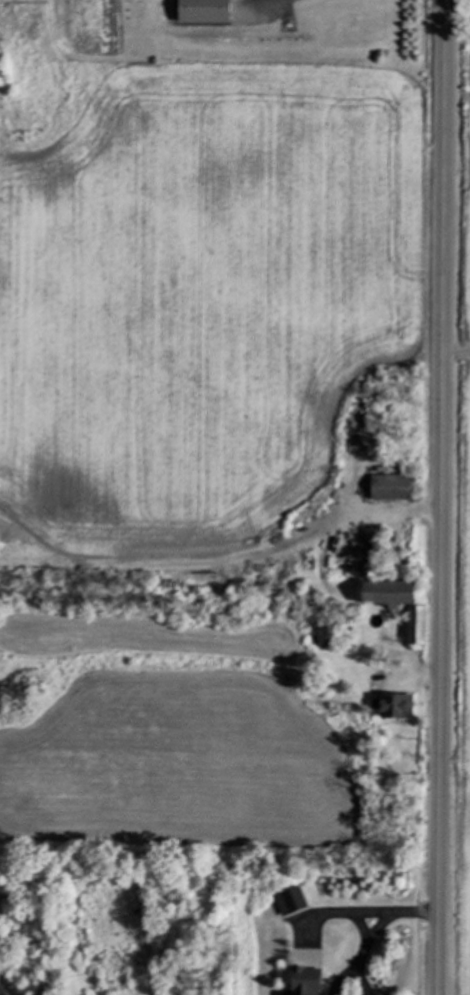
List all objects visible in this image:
road: (257, 6)
building: (205, 12)
building: (391, 489)
road: (442, 497)
crop: (459, 530)
building: (417, 626)
building: (391, 707)
building: (292, 903)
road: (363, 912)
building: (306, 982)

